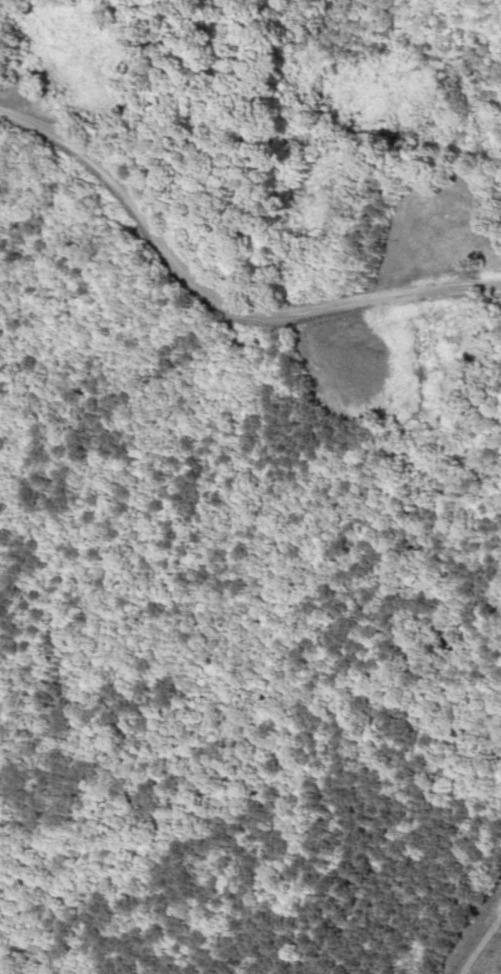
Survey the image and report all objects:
road: (210, 305)

